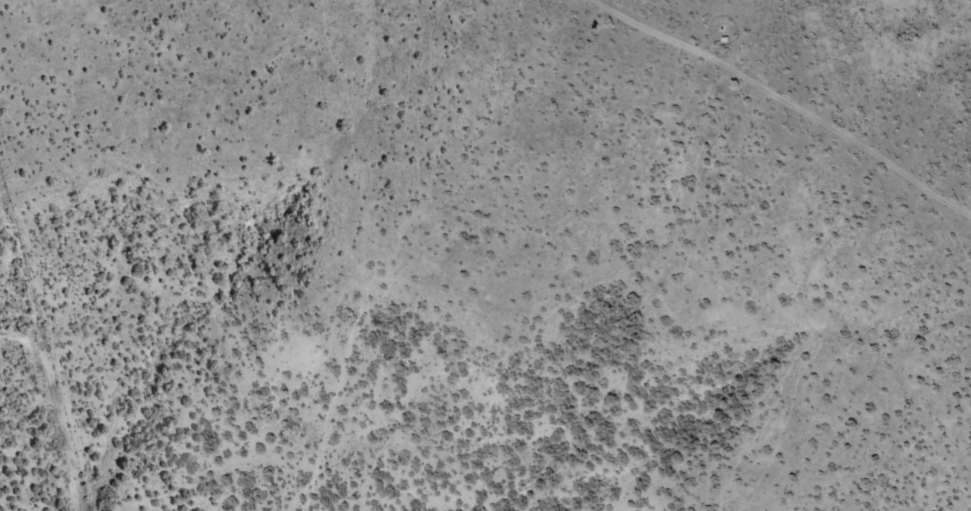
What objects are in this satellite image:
road: (768, 113)
road: (366, 467)

